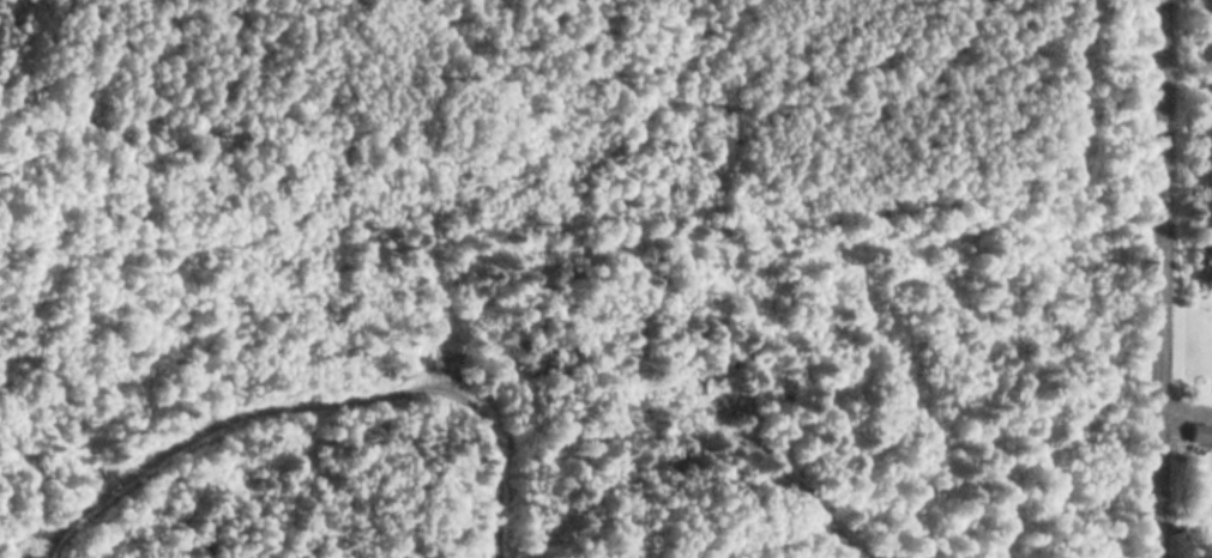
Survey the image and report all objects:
road: (1157, 279)
building: (1198, 435)

